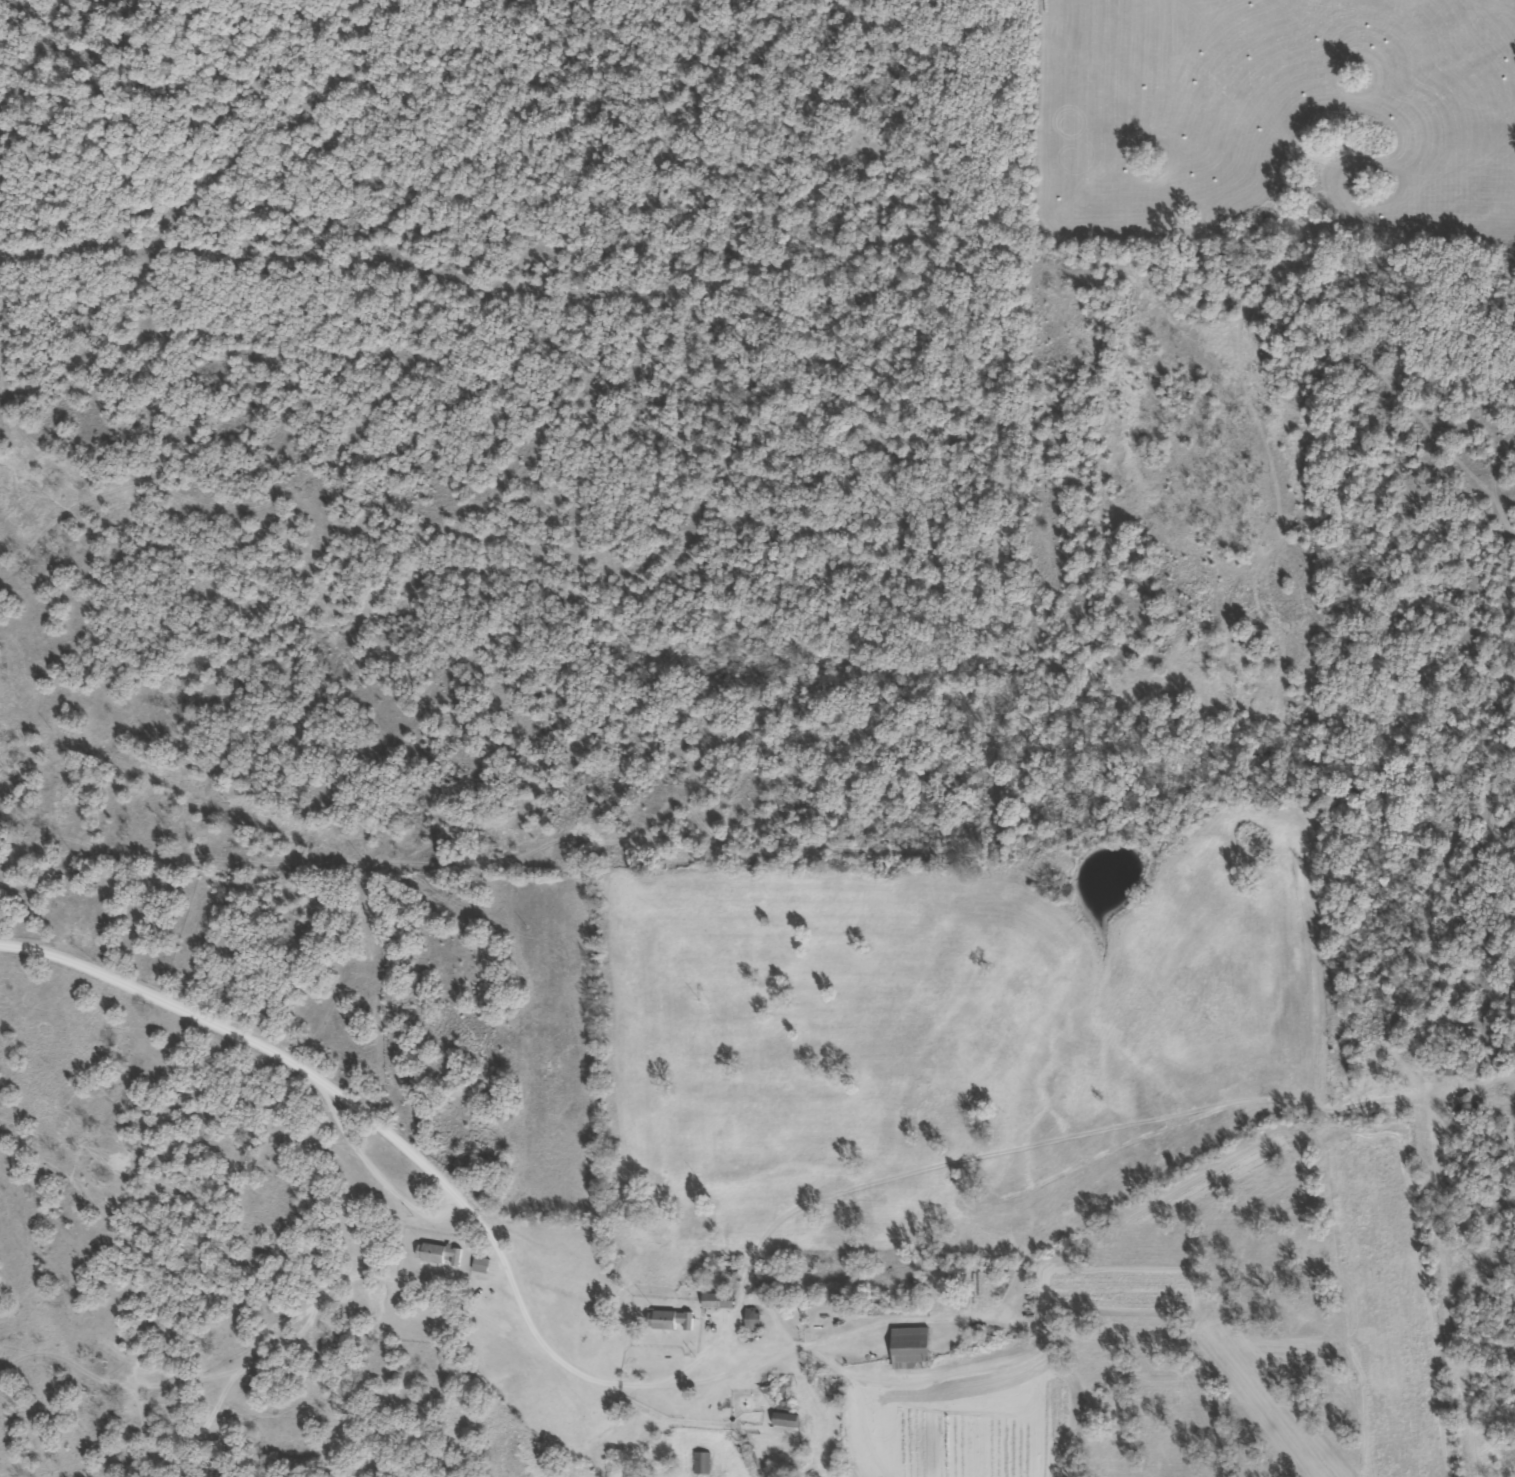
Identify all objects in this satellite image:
road: (324, 1116)
building: (440, 1253)
building: (482, 1263)
building: (719, 1299)
building: (753, 1318)
building: (671, 1319)
building: (912, 1347)
building: (830, 1382)
building: (786, 1419)
building: (703, 1462)

